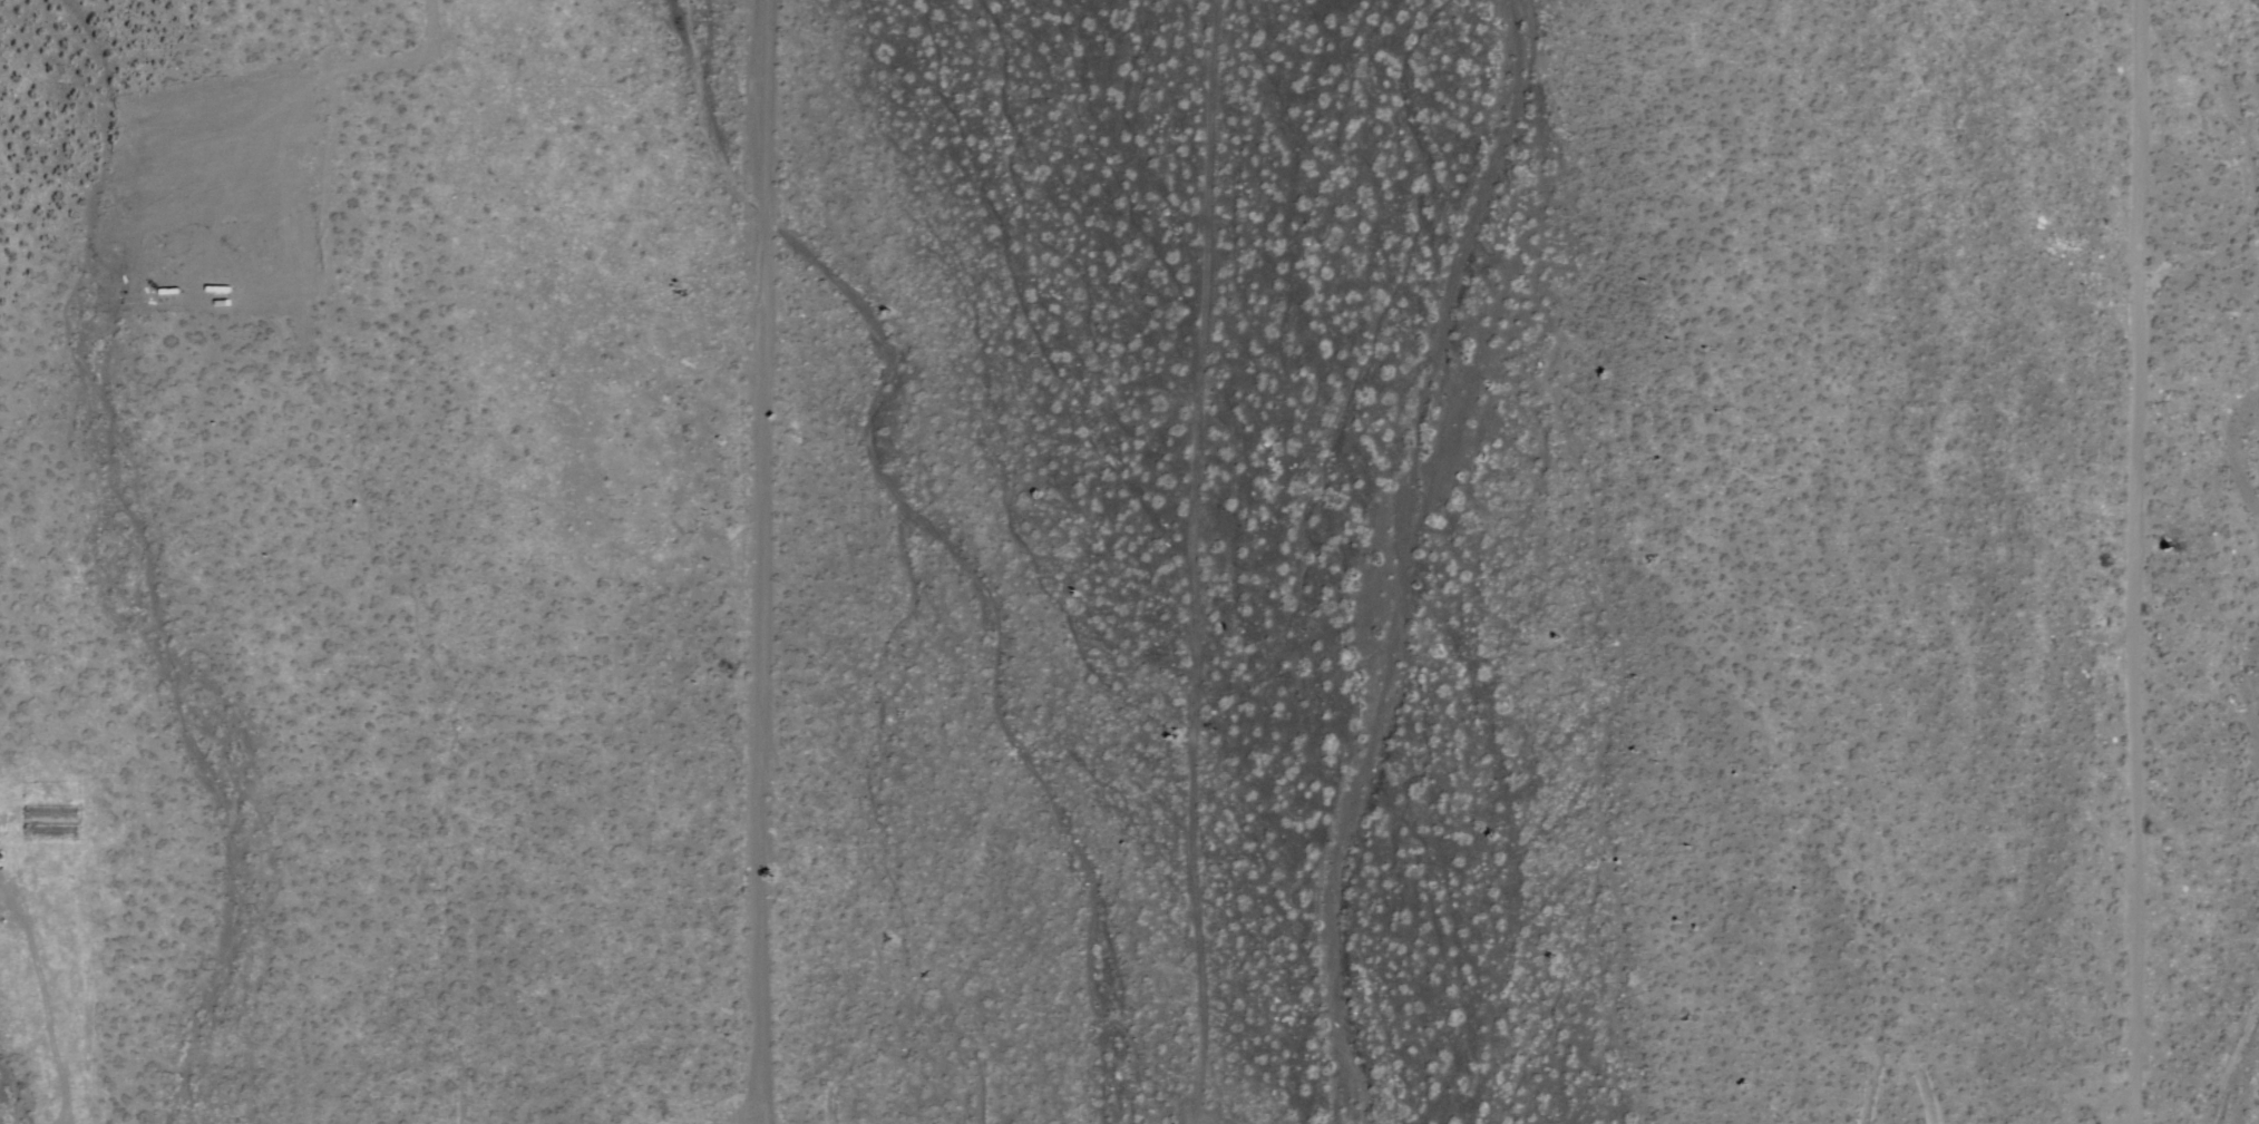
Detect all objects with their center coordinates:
road: (760, 561)
road: (2131, 561)

